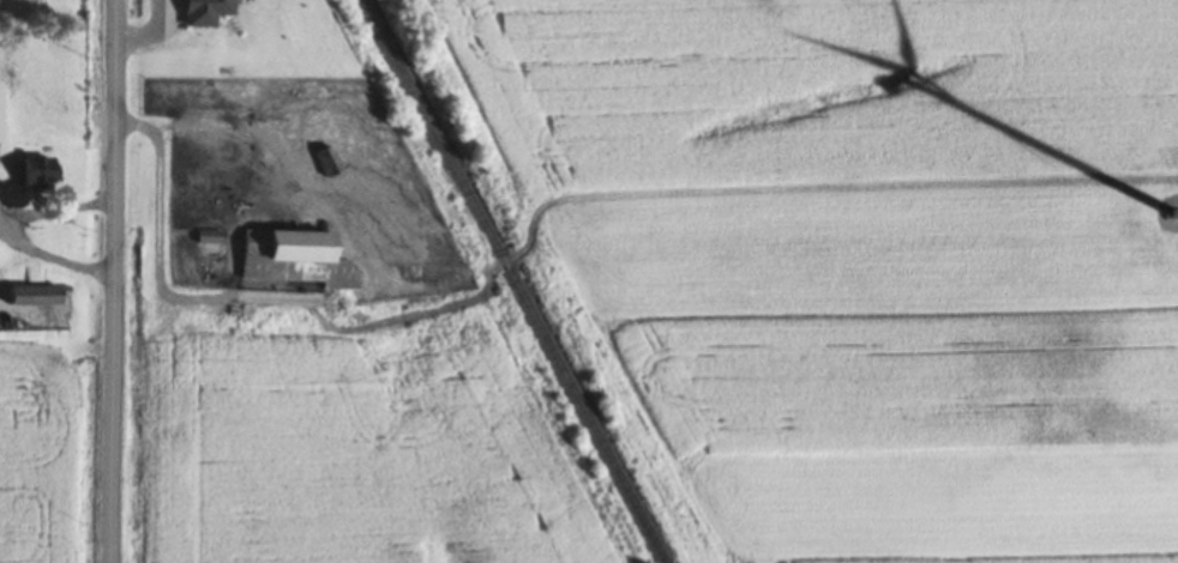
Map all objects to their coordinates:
building: (2, 103)
building: (324, 169)
building: (35, 180)
building: (208, 187)
road: (299, 189)
wind turbine: (1172, 218)
road: (817, 237)
road: (155, 253)
building: (294, 265)
road: (107, 280)
railway: (507, 281)
building: (35, 302)

